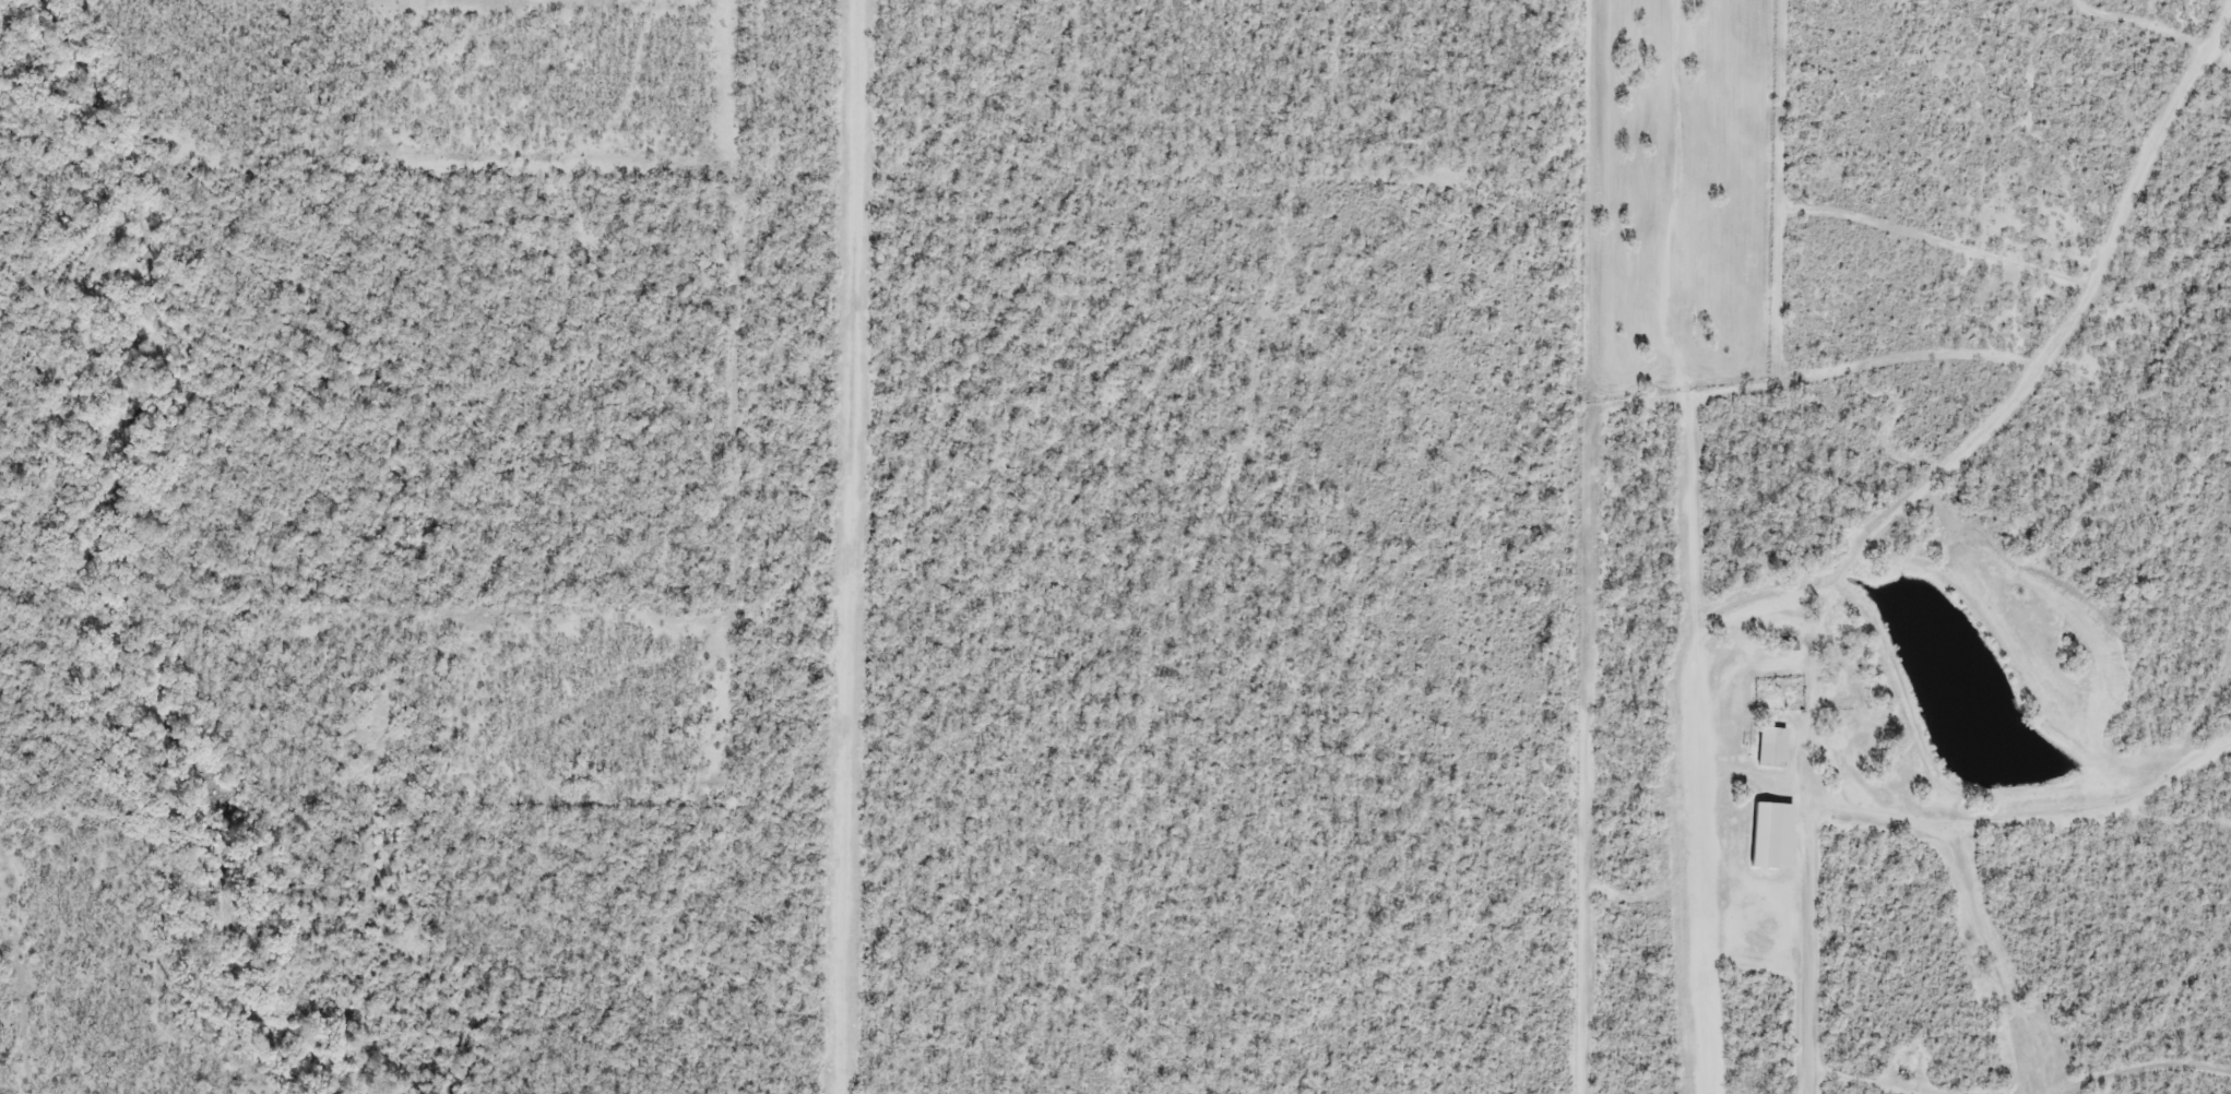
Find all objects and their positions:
building: (1759, 631)
building: (1771, 749)
road: (1805, 943)

